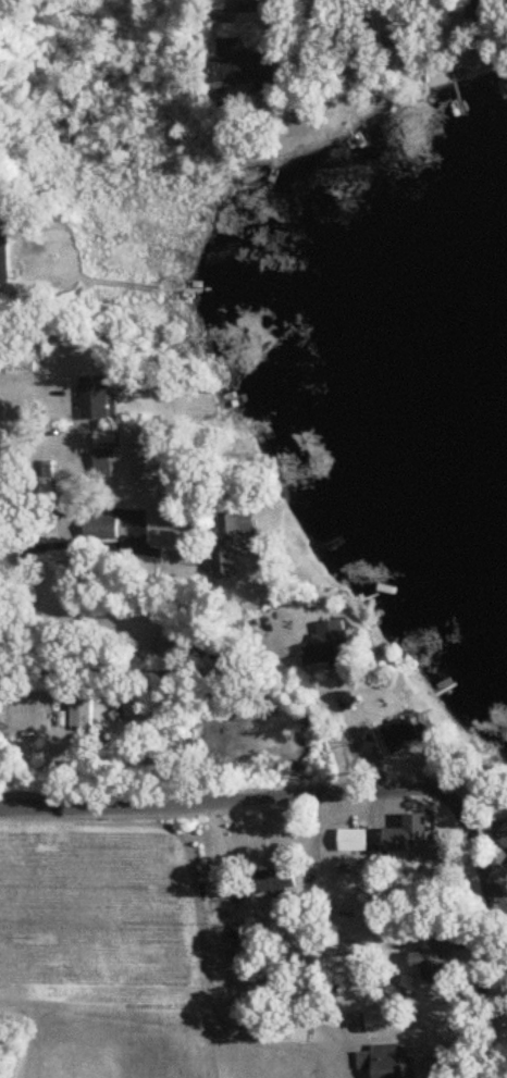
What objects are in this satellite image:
building: (239, 65)
building: (4, 259)
building: (95, 397)
building: (124, 461)
building: (102, 528)
road: (136, 529)
building: (234, 540)
building: (332, 645)
road: (138, 671)
building: (127, 711)
building: (82, 714)
building: (403, 733)
road: (271, 798)
building: (505, 827)
building: (413, 838)
building: (355, 841)
building: (274, 881)
road: (485, 957)
building: (431, 963)
building: (374, 1020)
road: (444, 1053)
building: (386, 1063)

